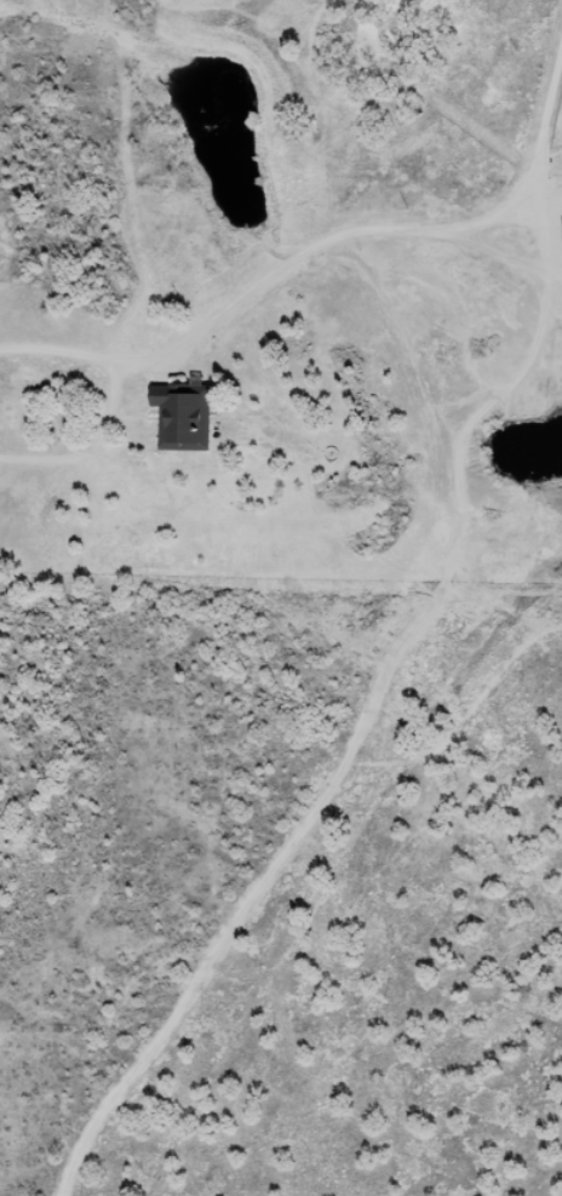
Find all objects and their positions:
road: (321, 245)
building: (183, 427)

